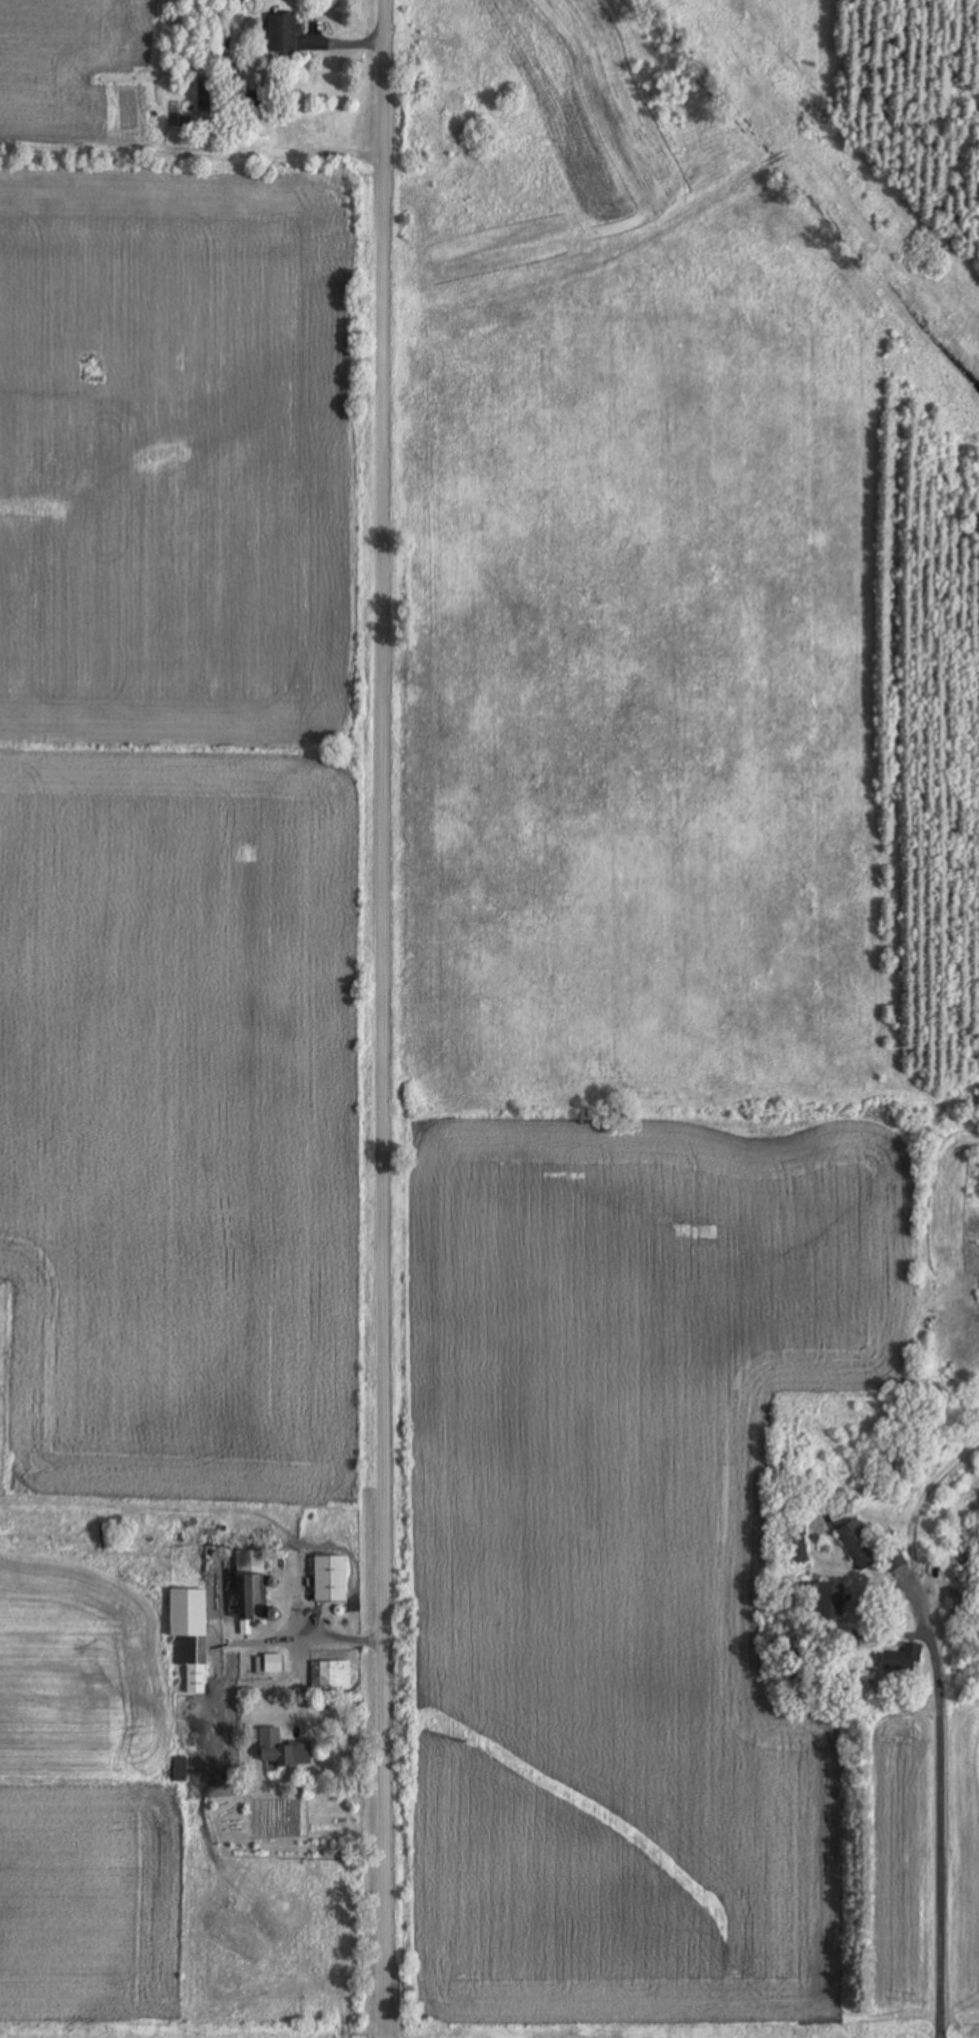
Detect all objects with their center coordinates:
building: (282, 33)
building: (255, 100)
road: (375, 1018)
building: (798, 1535)
building: (861, 1539)
building: (962, 1545)
building: (330, 1579)
building: (251, 1589)
building: (823, 1605)
building: (190, 1634)
building: (902, 1659)
building: (330, 1676)
building: (286, 1753)
building: (180, 1768)
road: (948, 1847)

